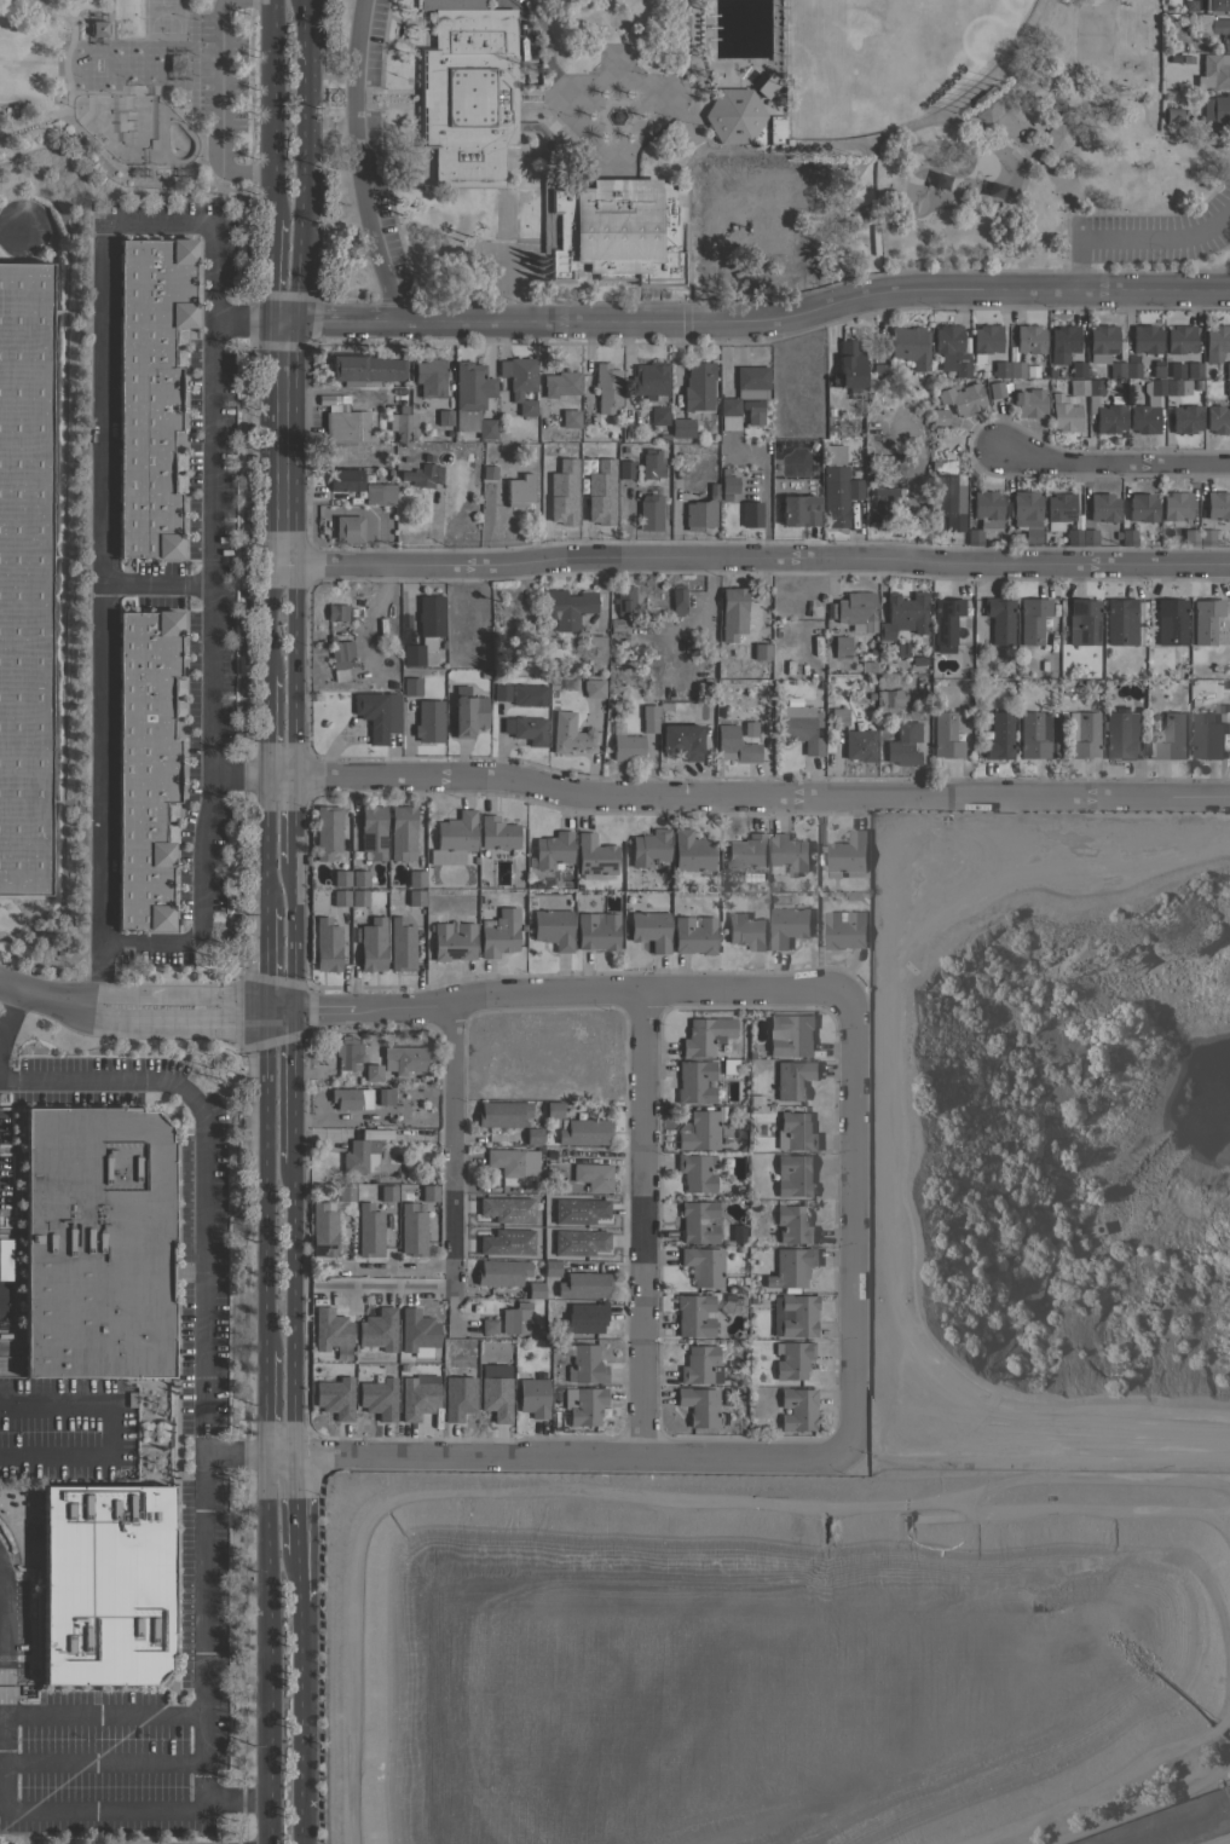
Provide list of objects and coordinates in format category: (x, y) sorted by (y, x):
building: (1206, 5)
road: (541, 25)
building: (98, 28)
building: (1213, 28)
building: (1213, 71)
building: (766, 85)
building: (466, 92)
building: (616, 96)
road: (218, 104)
building: (984, 105)
road: (270, 109)
building: (1217, 109)
building: (733, 115)
building: (1172, 116)
road: (1021, 125)
park: (134, 127)
building: (775, 129)
park: (880, 135)
building: (1058, 135)
road: (699, 149)
road: (359, 163)
road: (171, 222)
building: (610, 226)
road: (15, 231)
road: (1136, 241)
road: (270, 268)
road: (294, 283)
traffic signals: (270, 318)
road: (241, 319)
traffic signals: (293, 320)
road: (751, 323)
building: (986, 339)
building: (1028, 339)
building: (1179, 339)
building: (1062, 342)
building: (1101, 342)
building: (1215, 342)
building: (909, 346)
building: (1141, 347)
building: (951, 349)
building: (365, 369)
building: (849, 369)
building: (999, 369)
building: (1015, 369)
building: (1079, 369)
building: (1115, 369)
building: (1156, 369)
building: (1226, 369)
building: (1193, 370)
building: (879, 376)
building: (429, 377)
building: (751, 377)
building: (649, 378)
building: (519, 381)
building: (560, 383)
building: (697, 386)
building: (1093, 386)
building: (606, 387)
building: (1177, 387)
building: (1228, 387)
building: (149, 389)
building: (995, 389)
building: (472, 398)
building: (962, 399)
building: (1028, 401)
building: (1067, 405)
building: (1147, 407)
building: (752, 411)
building: (728, 414)
building: (658, 415)
building: (937, 416)
building: (444, 417)
building: (568, 418)
building: (1108, 418)
building: (1184, 418)
building: (1217, 418)
building: (346, 426)
building: (400, 427)
building: (681, 427)
building: (952, 440)
road: (268, 443)
building: (833, 453)
road: (1113, 458)
building: (652, 464)
building: (625, 469)
building: (487, 472)
building: (423, 475)
building: (345, 479)
building: (727, 484)
building: (519, 491)
building: (379, 493)
building: (837, 493)
building: (560, 495)
building: (948, 501)
building: (880, 502)
building: (1217, 504)
building: (1176, 505)
building: (1102, 507)
building: (1141, 507)
building: (1057, 509)
building: (649, 511)
building: (700, 511)
building: (797, 511)
building: (750, 514)
building: (983, 514)
building: (1024, 514)
building: (347, 528)
building: (1072, 537)
building: (1088, 537)
building: (1125, 537)
building: (1190, 537)
building: (1205, 537)
road: (762, 559)
road: (281, 567)
building: (24, 574)
road: (155, 582)
building: (623, 600)
building: (677, 600)
building: (566, 607)
building: (855, 611)
building: (342, 613)
building: (732, 613)
building: (903, 614)
building: (999, 618)
building: (1032, 619)
building: (1205, 619)
building: (1120, 620)
road: (267, 622)
building: (1082, 622)
building: (1170, 622)
building: (945, 623)
building: (616, 626)
building: (425, 629)
building: (841, 647)
building: (595, 648)
building: (899, 649)
building: (760, 651)
building: (339, 658)
building: (867, 666)
road: (291, 671)
building: (411, 686)
building: (593, 688)
building: (501, 692)
building: (527, 695)
building: (889, 701)
building: (377, 713)
building: (468, 715)
building: (838, 716)
building: (648, 718)
building: (428, 721)
road: (265, 726)
building: (801, 727)
building: (525, 729)
building: (746, 729)
building: (568, 733)
building: (1081, 734)
building: (995, 735)
building: (1034, 735)
building: (1120, 735)
building: (1206, 735)
building: (946, 736)
building: (1171, 736)
building: (681, 740)
building: (734, 745)
building: (859, 745)
building: (903, 745)
building: (625, 746)
building: (144, 765)
road: (745, 797)
road: (289, 821)
building: (327, 831)
building: (373, 831)
building: (402, 831)
building: (455, 833)
building: (497, 833)
road: (265, 843)
building: (649, 846)
building: (552, 849)
building: (746, 850)
building: (691, 851)
building: (787, 854)
building: (845, 854)
building: (594, 855)
building: (340, 878)
building: (359, 878)
building: (415, 878)
building: (340, 897)
building: (359, 897)
building: (415, 897)
building: (787, 925)
building: (553, 929)
building: (649, 929)
building: (746, 929)
building: (844, 929)
building: (596, 930)
building: (498, 932)
building: (694, 935)
road: (289, 938)
building: (452, 941)
building: (327, 944)
building: (371, 944)
building: (400, 944)
road: (265, 964)
road: (573, 994)
road: (47, 995)
road: (195, 996)
traffic signals: (266, 999)
road: (8, 1011)
traffic signals: (293, 1011)
road: (192, 1017)
traffic signals: (267, 1018)
building: (705, 1034)
building: (795, 1034)
building: (348, 1053)
building: (395, 1063)
building: (793, 1079)
building: (694, 1081)
road: (293, 1087)
building: (382, 1096)
building: (346, 1098)
building: (553, 1109)
building: (502, 1114)
building: (797, 1131)
building: (584, 1132)
building: (695, 1132)
building: (532, 1135)
building: (359, 1156)
road: (452, 1156)
building: (506, 1161)
building: (695, 1173)
building: (795, 1175)
building: (593, 1177)
road: (266, 1183)
building: (343, 1192)
building: (387, 1192)
building: (428, 1192)
building: (581, 1201)
building: (544, 1206)
building: (698, 1221)
building: (793, 1224)
road: (646, 1225)
building: (512, 1226)
road: (850, 1229)
building: (322, 1230)
building: (368, 1230)
building: (411, 1230)
building: (737, 1233)
building: (96, 1243)
building: (703, 1265)
building: (550, 1267)
building: (793, 1267)
road: (399, 1271)
building: (501, 1272)
building: (583, 1284)
building: (533, 1290)
road: (293, 1311)
building: (693, 1314)
building: (793, 1314)
building: (583, 1318)
building: (516, 1319)
building: (487, 1325)
building: (329, 1331)
building: (375, 1331)
building: (414, 1331)
road: (203, 1351)
building: (792, 1359)
building: (698, 1364)
building: (585, 1365)
building: (492, 1393)
building: (532, 1397)
building: (415, 1398)
building: (333, 1399)
building: (376, 1399)
building: (456, 1399)
road: (266, 1403)
building: (698, 1405)
building: (585, 1406)
building: (798, 1409)
quarry: (883, 1435)
road: (235, 1456)
road: (555, 1457)
road: (295, 1505)
road: (296, 1576)
building: (105, 1584)
road: (270, 1649)
road: (103, 1712)
road: (301, 1721)
road: (103, 1761)
road: (1, 1798)
road: (237, 1804)

